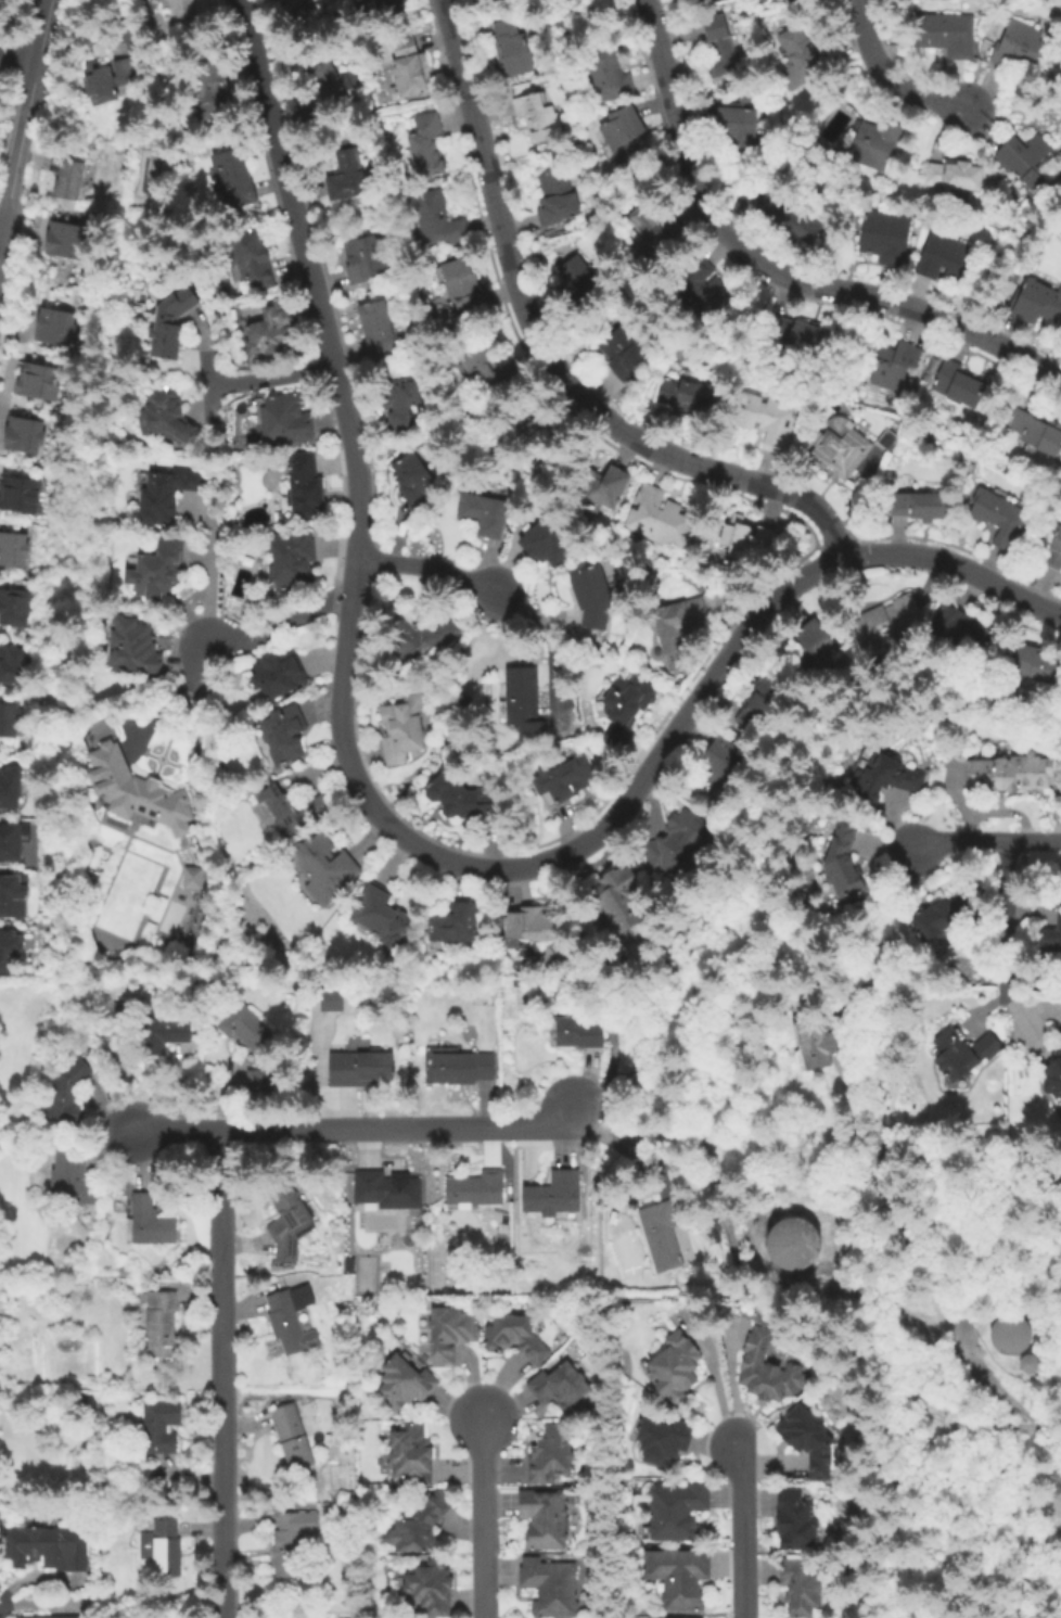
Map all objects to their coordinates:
building: (281, 1)
building: (293, 1)
building: (711, 2)
building: (376, 4)
building: (182, 9)
road: (40, 34)
building: (945, 34)
building: (512, 47)
building: (1018, 47)
building: (718, 50)
building: (804, 53)
road: (15, 60)
road: (257, 68)
building: (407, 71)
building: (609, 76)
road: (890, 76)
building: (107, 82)
building: (329, 93)
building: (210, 94)
building: (536, 118)
building: (738, 128)
building: (623, 133)
building: (875, 143)
building: (426, 145)
road: (17, 146)
building: (1027, 162)
park: (149, 174)
building: (954, 176)
building: (347, 177)
building: (73, 179)
building: (234, 180)
building: (557, 202)
building: (789, 218)
building: (437, 221)
road: (0, 224)
road: (0, 227)
building: (656, 228)
building: (886, 237)
building: (62, 240)
building: (947, 258)
building: (370, 262)
building: (252, 268)
road: (774, 270)
building: (580, 284)
building: (464, 286)
building: (701, 289)
building: (1036, 302)
building: (174, 324)
building: (53, 326)
building: (375, 329)
building: (268, 332)
building: (801, 335)
building: (624, 354)
road: (546, 356)
road: (332, 364)
building: (892, 364)
building: (488, 371)
road: (271, 377)
building: (36, 381)
building: (959, 384)
building: (688, 397)
building: (401, 403)
building: (168, 417)
building: (283, 418)
building: (767, 420)
building: (1036, 431)
building: (22, 434)
building: (839, 447)
building: (417, 479)
building: (303, 485)
building: (602, 485)
building: (18, 494)
building: (167, 496)
building: (920, 506)
building: (484, 513)
building: (661, 518)
building: (1000, 518)
building: (736, 537)
building: (764, 538)
building: (547, 544)
building: (12, 548)
building: (1054, 552)
building: (289, 562)
road: (433, 563)
building: (158, 570)
road: (201, 589)
building: (592, 596)
building: (15, 607)
road: (277, 622)
building: (885, 622)
building: (679, 624)
building: (958, 629)
building: (423, 634)
building: (813, 647)
building: (135, 649)
building: (1035, 665)
building: (14, 667)
building: (279, 675)
road: (166, 701)
building: (760, 702)
building: (524, 703)
building: (625, 711)
building: (11, 722)
building: (401, 730)
building: (283, 736)
building: (720, 766)
building: (1011, 773)
building: (883, 775)
road: (641, 780)
building: (563, 782)
building: (9, 786)
building: (138, 793)
building: (461, 799)
building: (290, 810)
building: (12, 839)
road: (993, 841)
building: (675, 844)
building: (842, 863)
building: (322, 868)
building: (195, 877)
building: (12, 896)
building: (617, 900)
road: (1008, 912)
building: (942, 917)
building: (383, 919)
building: (453, 923)
building: (534, 926)
building: (1052, 938)
building: (12, 952)
building: (516, 984)
building: (329, 1001)
building: (245, 1025)
building: (163, 1029)
building: (578, 1033)
building: (1059, 1034)
building: (816, 1044)
road: (877, 1049)
building: (964, 1053)
building: (463, 1068)
building: (360, 1070)
building: (1052, 1078)
building: (259, 1080)
building: (67, 1094)
road: (354, 1125)
building: (72, 1176)
building: (474, 1189)
building: (387, 1190)
building: (552, 1194)
building: (290, 1222)
building: (151, 1223)
building: (663, 1233)
building: (794, 1245)
water tower: (795, 1245)
road: (936, 1298)
building: (292, 1320)
building: (159, 1323)
building: (450, 1334)
building: (1011, 1336)
building: (515, 1337)
water tower: (1011, 1337)
building: (1032, 1365)
water tower: (1032, 1366)
building: (675, 1367)
building: (766, 1369)
road: (220, 1372)
road: (713, 1379)
building: (405, 1384)
building: (559, 1387)
building: (293, 1398)
building: (159, 1429)
building: (292, 1437)
building: (807, 1440)
building: (662, 1441)
building: (412, 1454)
building: (550, 1455)
building: (677, 1511)
road: (483, 1518)
building: (544, 1518)
building: (795, 1520)
building: (420, 1527)
road: (737, 1530)
building: (290, 1545)
building: (46, 1549)
building: (163, 1549)
building: (677, 1578)
building: (550, 1587)
building: (797, 1588)
building: (430, 1589)
building: (43, 1616)
building: (669, 1617)

